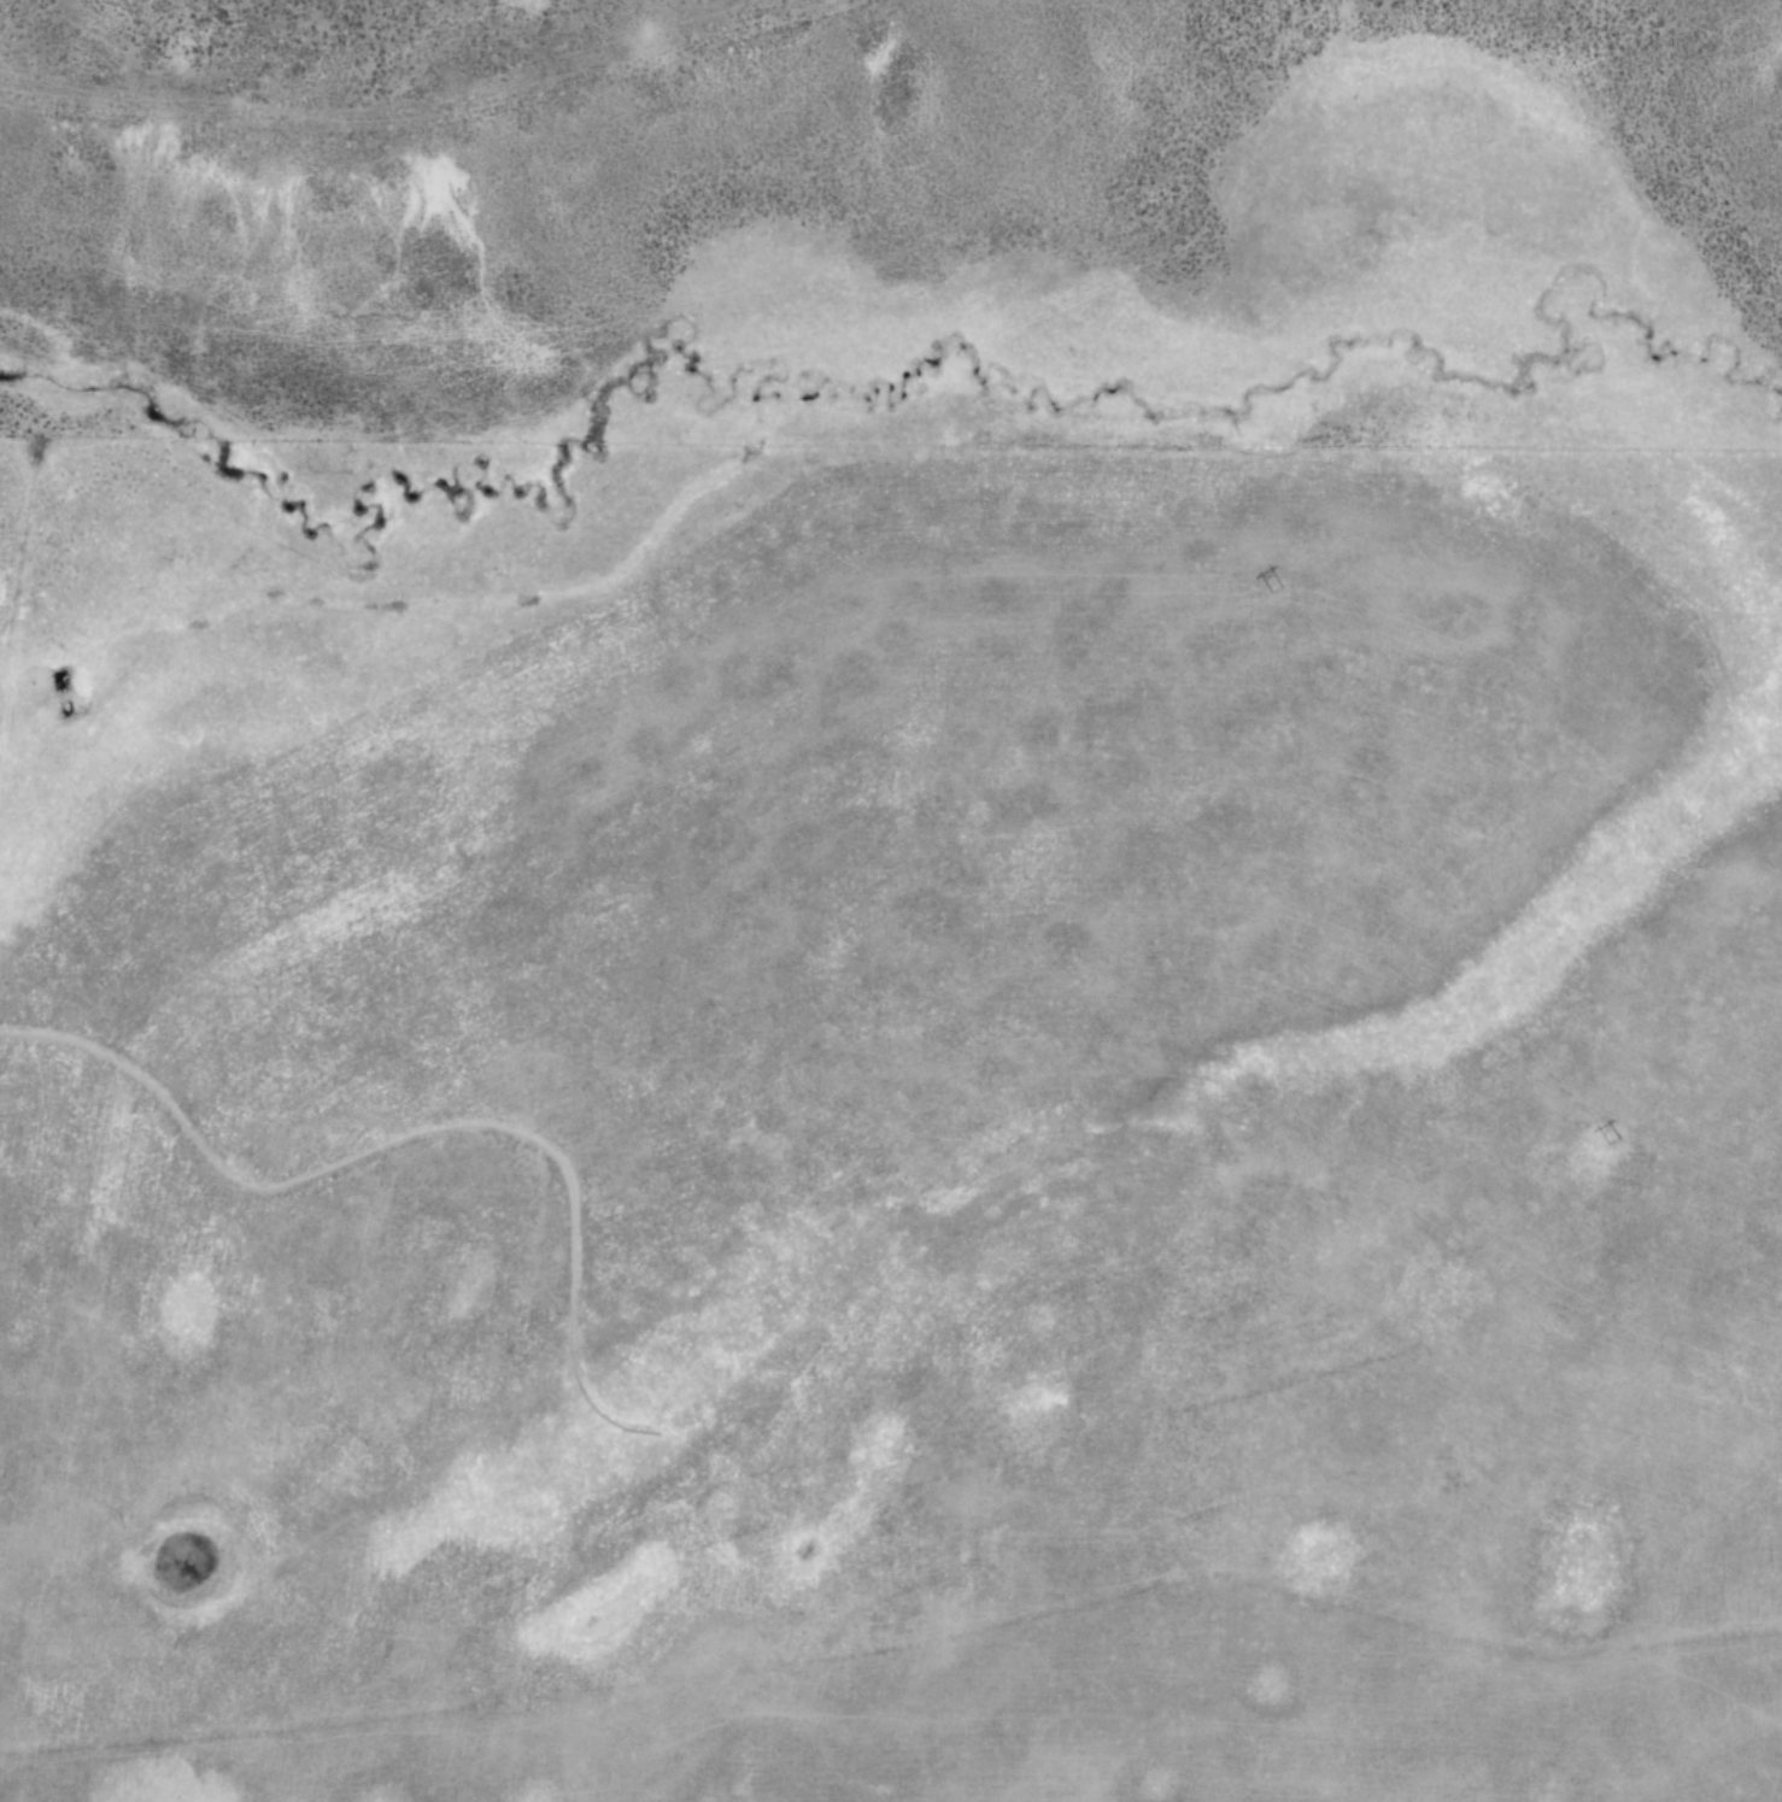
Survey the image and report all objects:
power tower: (1270, 589)
power tower: (1612, 1149)

